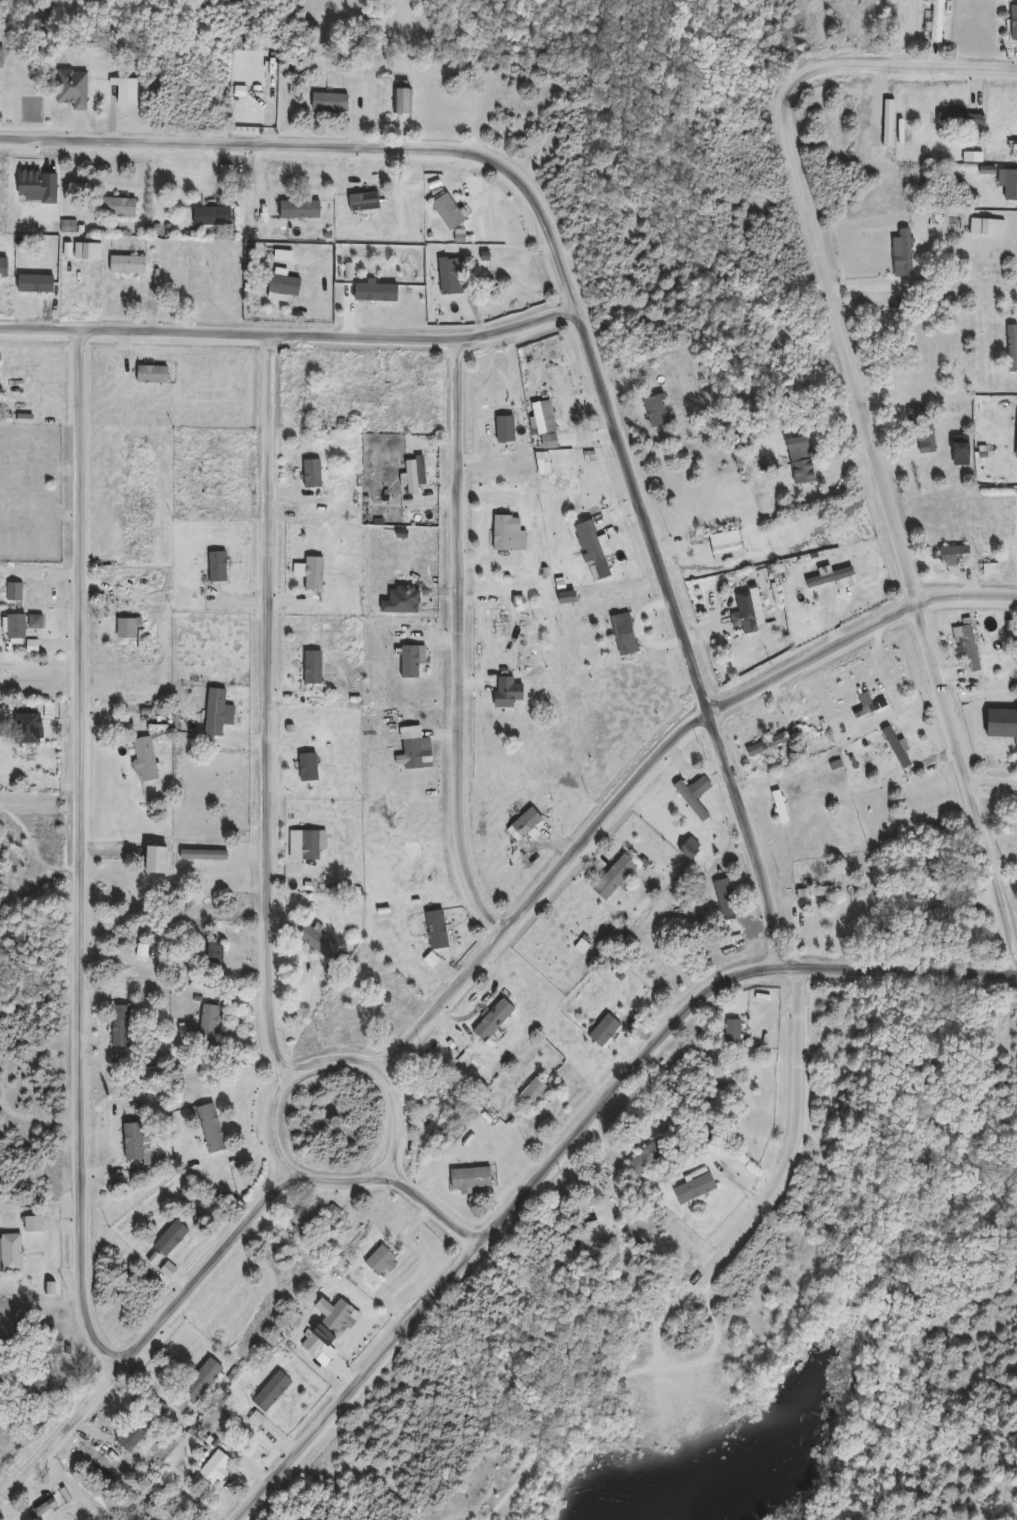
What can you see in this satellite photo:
building: (933, 21)
building: (1014, 26)
building: (0, 55)
road: (906, 69)
building: (69, 88)
building: (399, 97)
building: (327, 102)
building: (957, 118)
building: (884, 135)
road: (334, 148)
building: (1008, 180)
building: (33, 186)
building: (116, 206)
building: (299, 209)
building: (443, 211)
building: (209, 216)
building: (899, 253)
building: (288, 286)
building: (373, 293)
road: (292, 335)
building: (1010, 347)
building: (148, 374)
building: (366, 394)
building: (926, 427)
building: (797, 459)
road: (896, 516)
building: (504, 532)
building: (949, 553)
building: (595, 556)
building: (214, 567)
building: (988, 569)
building: (822, 586)
building: (13, 592)
building: (124, 627)
building: (12, 629)
road: (462, 644)
building: (967, 647)
building: (407, 661)
building: (309, 667)
road: (271, 707)
building: (20, 728)
building: (763, 744)
road: (726, 756)
building: (141, 758)
road: (656, 766)
building: (305, 767)
road: (993, 785)
building: (698, 786)
building: (688, 801)
building: (686, 847)
road: (82, 856)
building: (154, 860)
building: (610, 877)
building: (811, 891)
building: (722, 896)
building: (933, 915)
building: (435, 931)
building: (312, 939)
building: (211, 951)
road: (909, 977)
building: (206, 1022)
building: (118, 1027)
building: (600, 1030)
building: (728, 1032)
road: (286, 1072)
road: (624, 1083)
building: (427, 1088)
building: (531, 1092)
building: (207, 1128)
building: (453, 1135)
building: (642, 1159)
building: (691, 1188)
road: (429, 1205)
building: (600, 1214)
building: (326, 1215)
building: (29, 1225)
building: (168, 1241)
building: (9, 1253)
building: (377, 1261)
building: (334, 1318)
road: (153, 1333)
building: (309, 1345)
road: (629, 1366)
building: (196, 1381)
building: (33, 1383)
road: (362, 1383)
building: (268, 1391)
building: (128, 1437)
building: (211, 1466)
building: (151, 1517)

